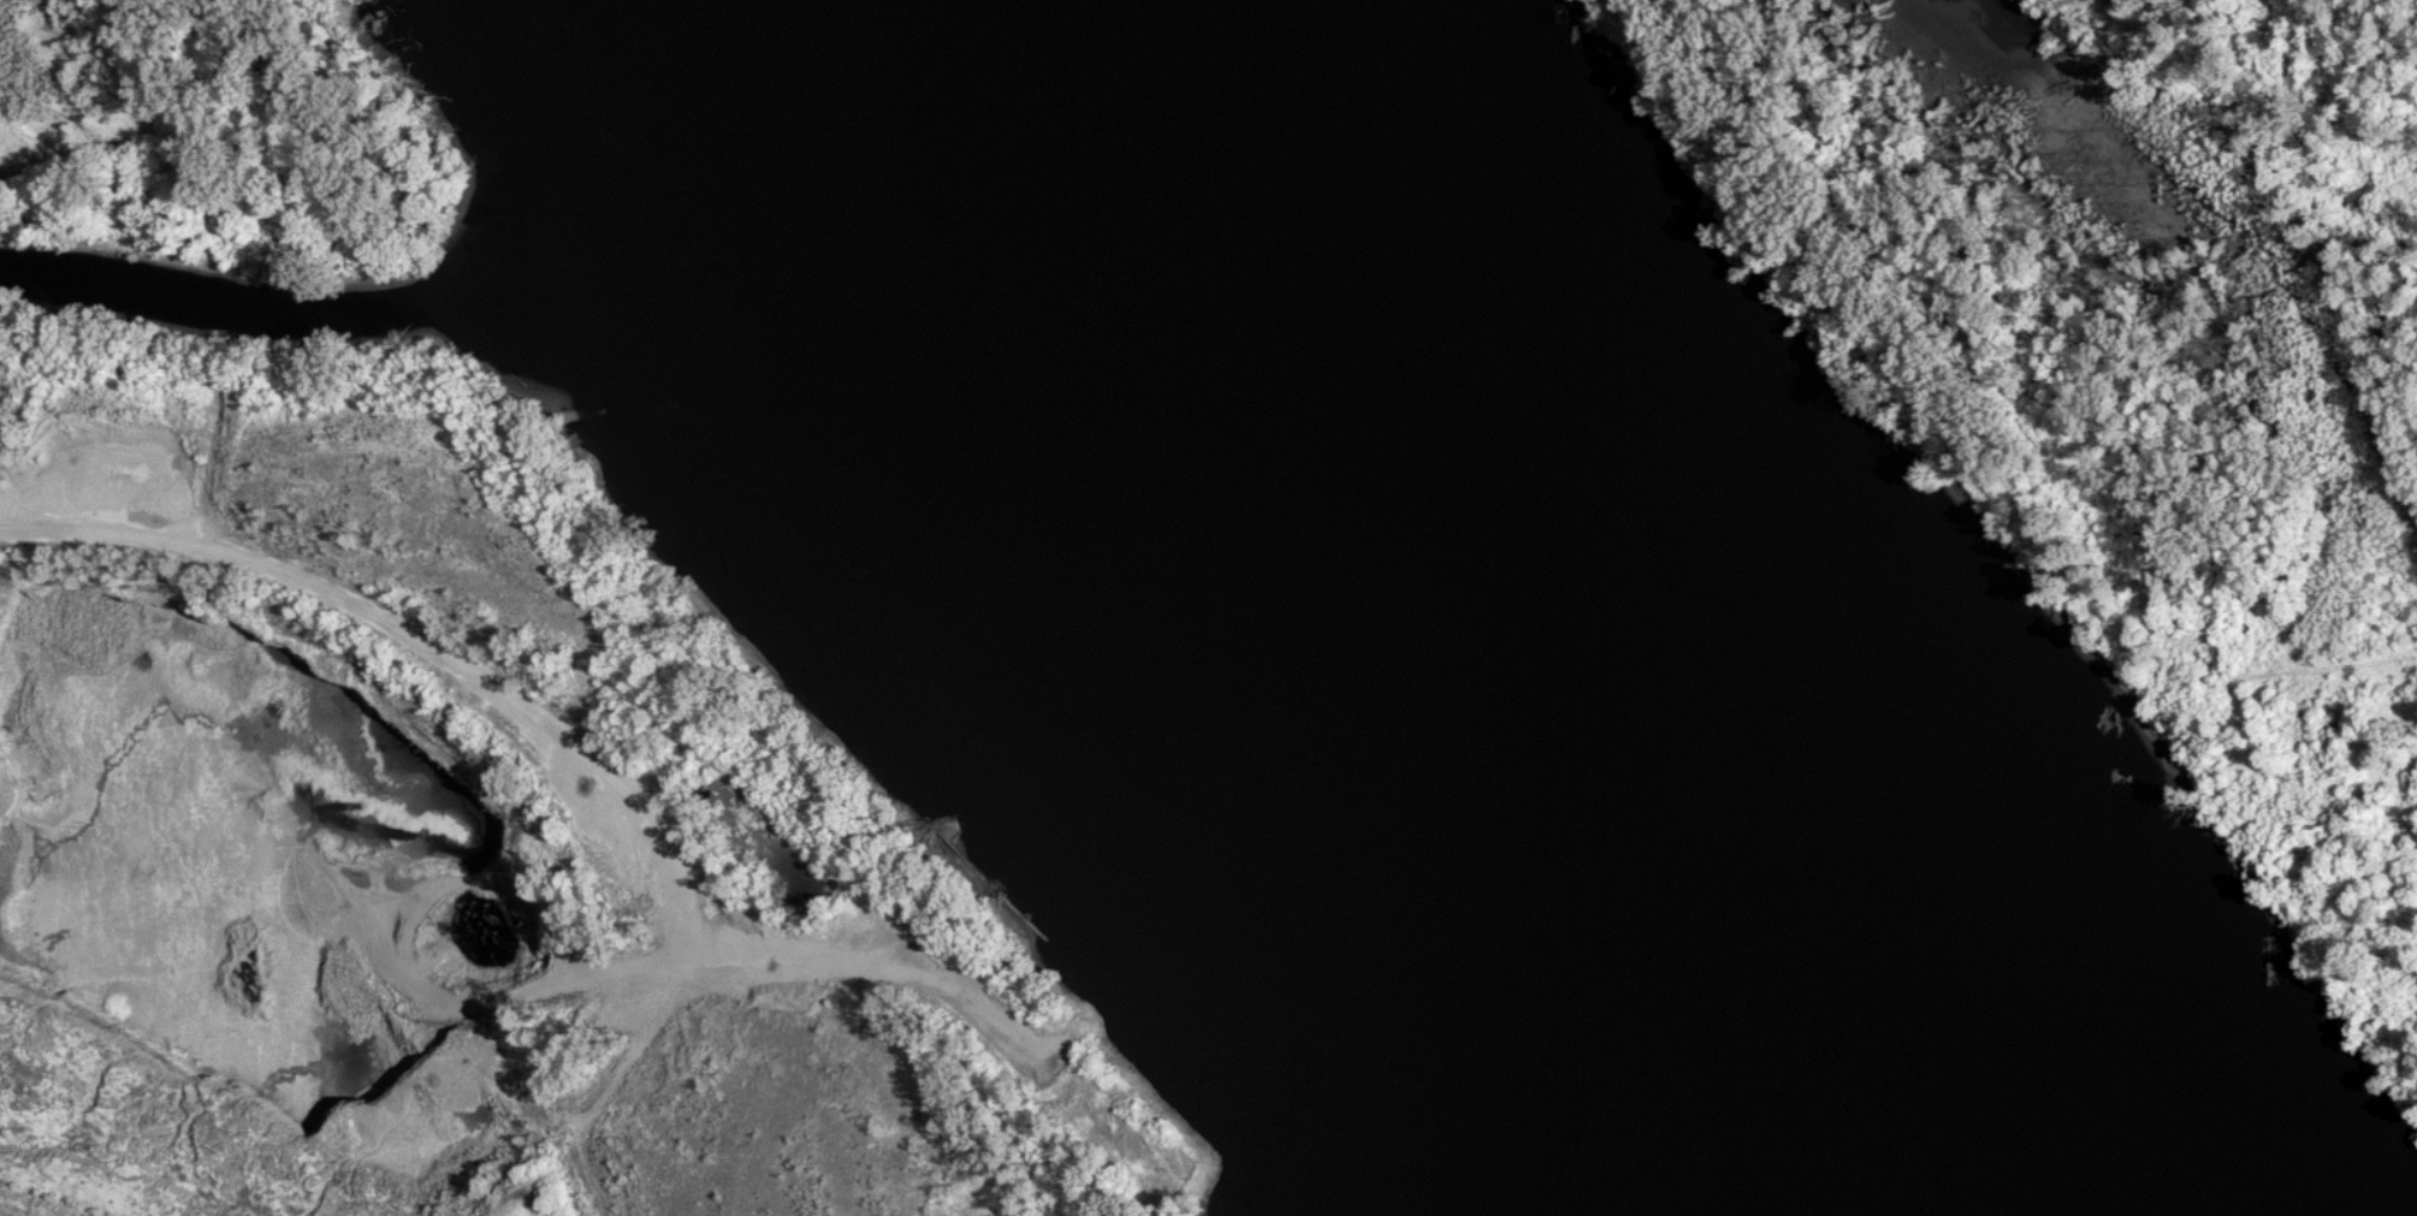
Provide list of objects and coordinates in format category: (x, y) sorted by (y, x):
river: (1305, 607)
road: (440, 639)
road: (627, 978)

